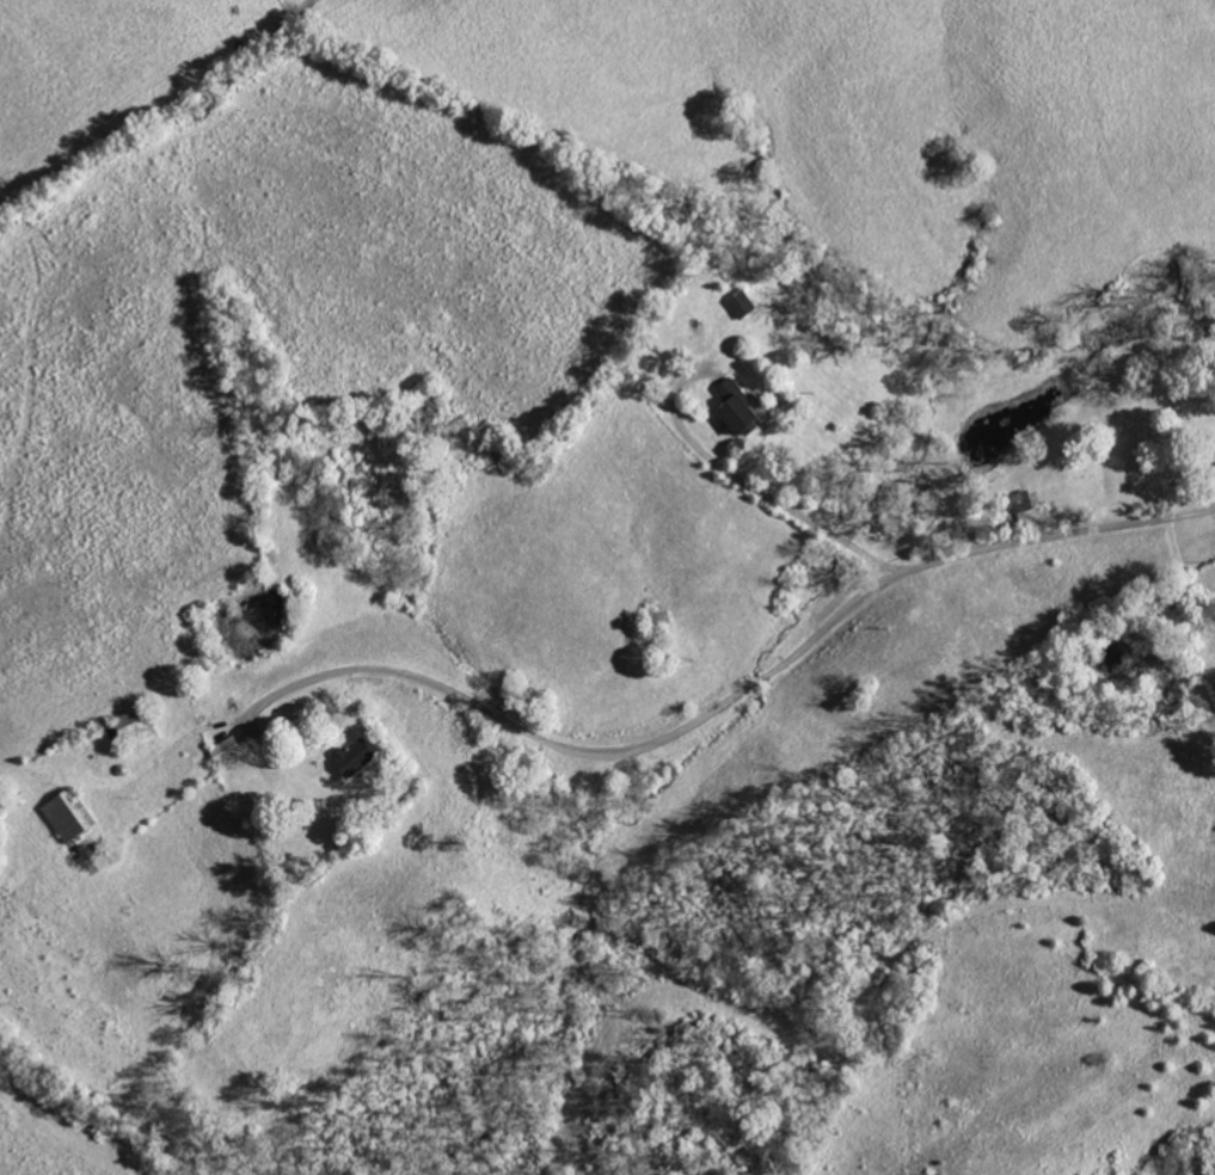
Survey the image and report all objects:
building: (742, 302)
building: (737, 407)
road: (747, 482)
road: (737, 695)
building: (227, 749)
building: (355, 756)
building: (69, 813)

